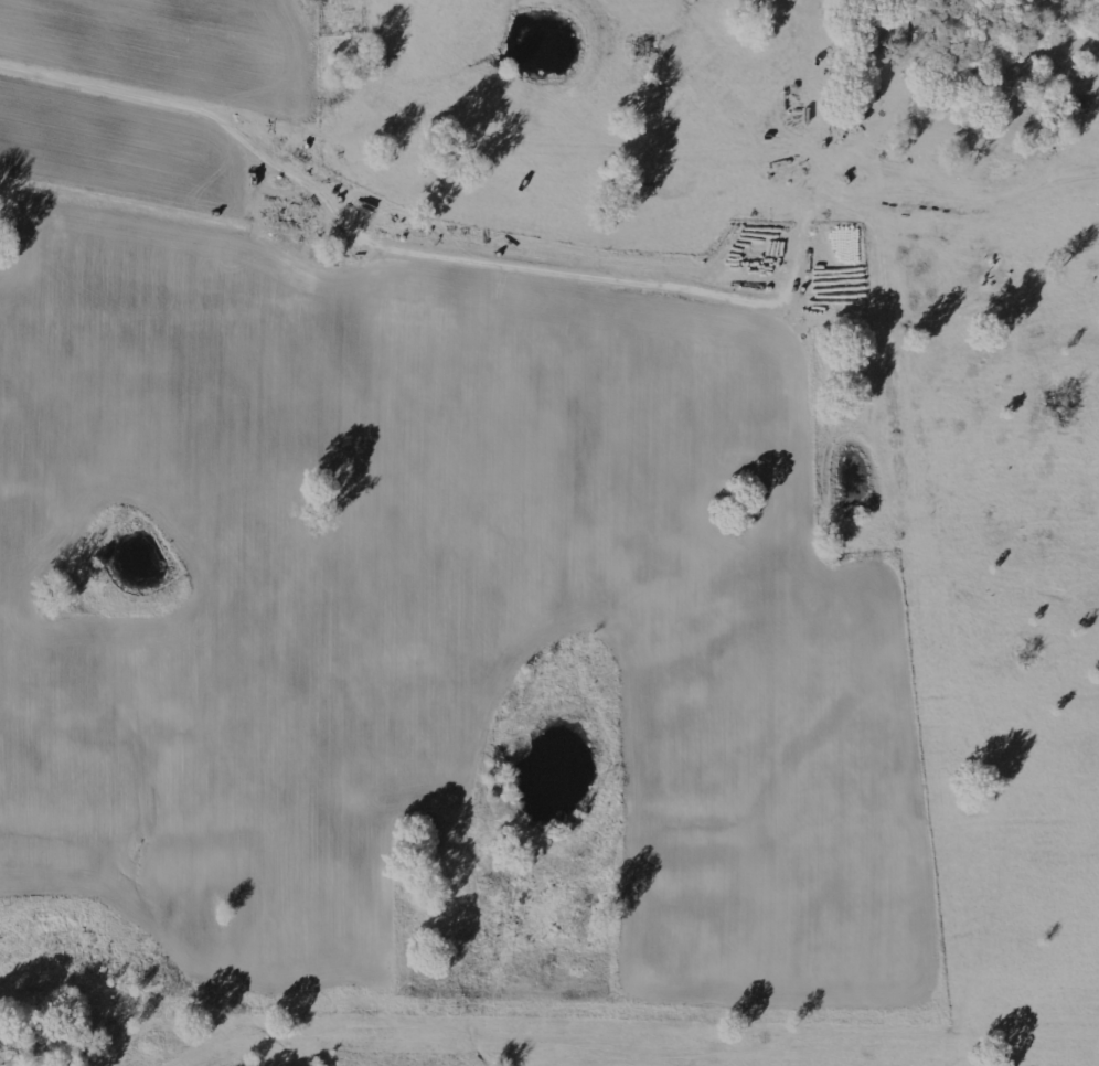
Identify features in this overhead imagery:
road: (700, 1046)
road: (157, 1060)

